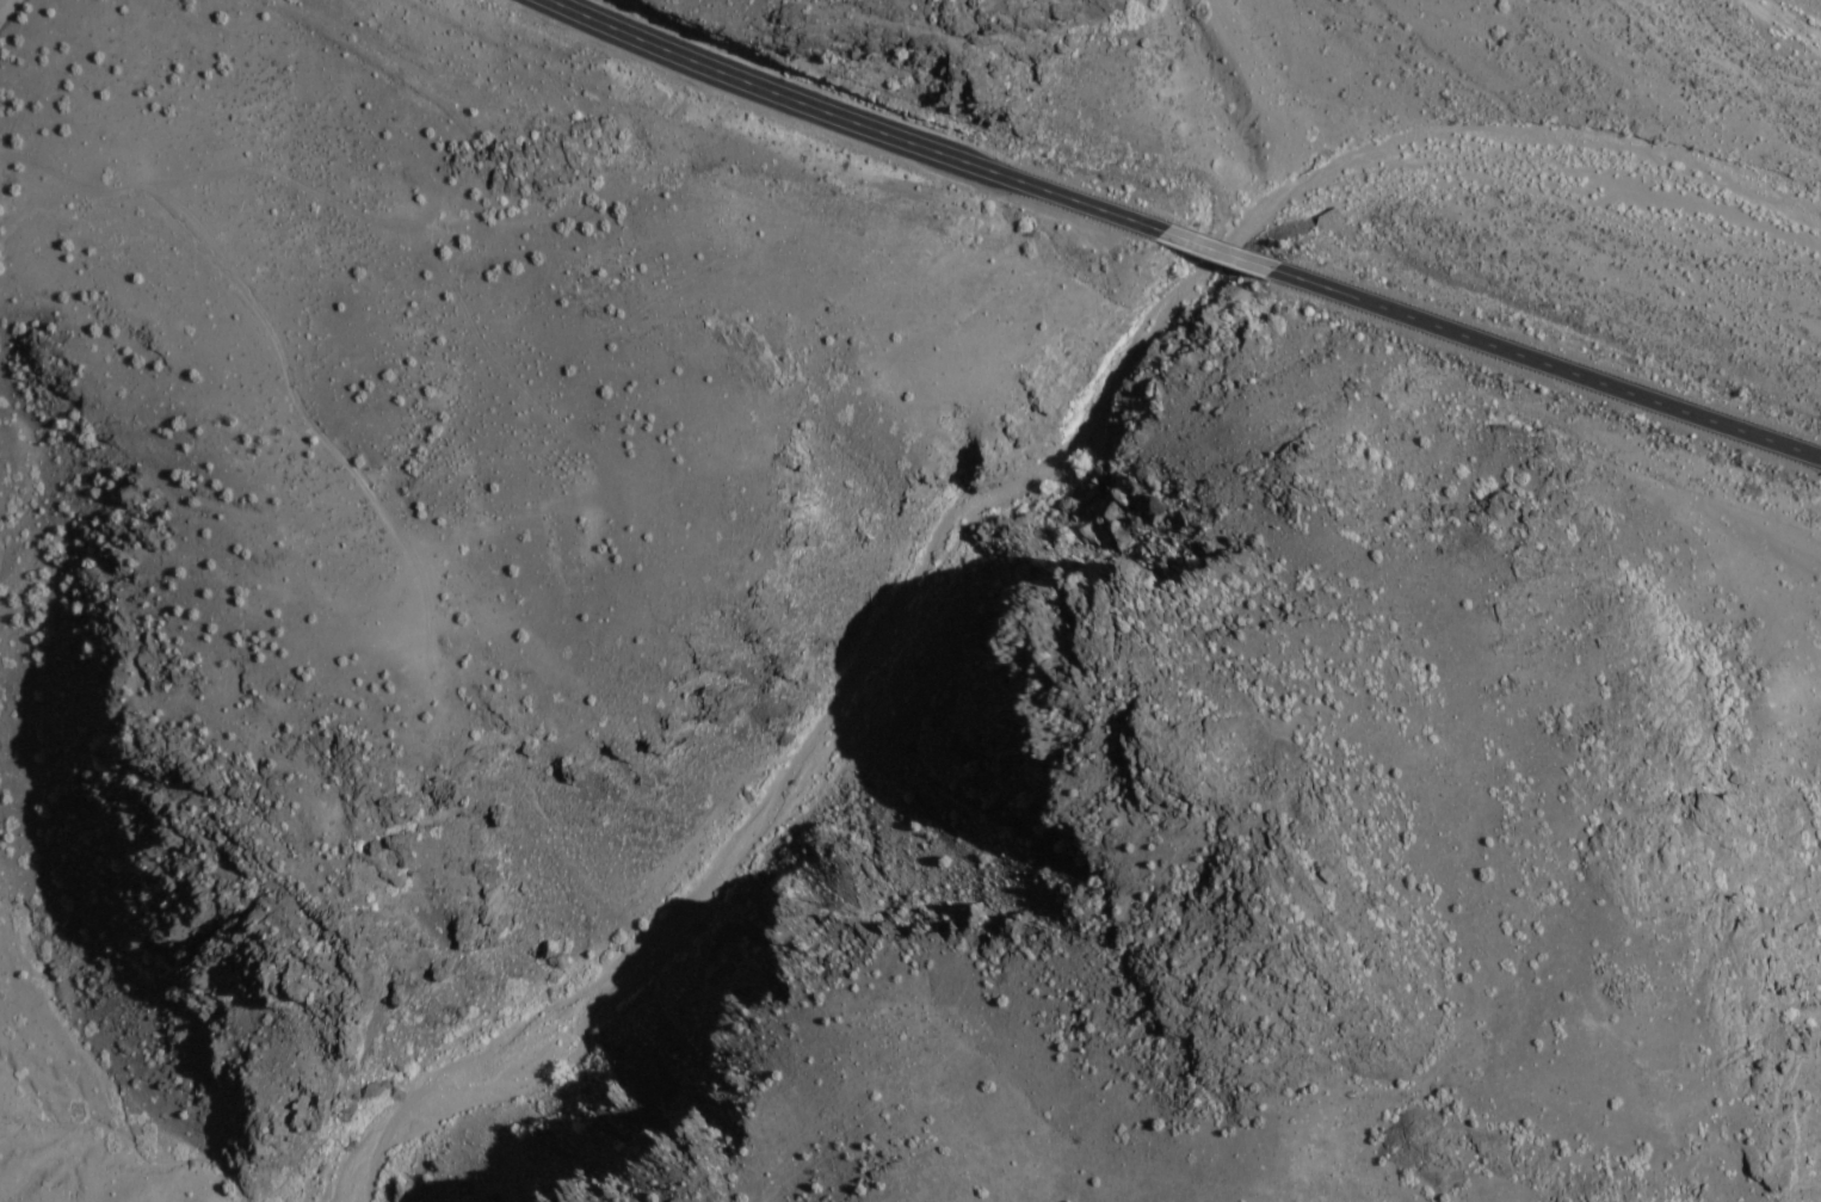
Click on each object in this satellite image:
road: (10, 12)
road: (842, 123)
road: (1223, 251)
road: (486, 327)
road: (297, 364)
road: (1549, 365)

